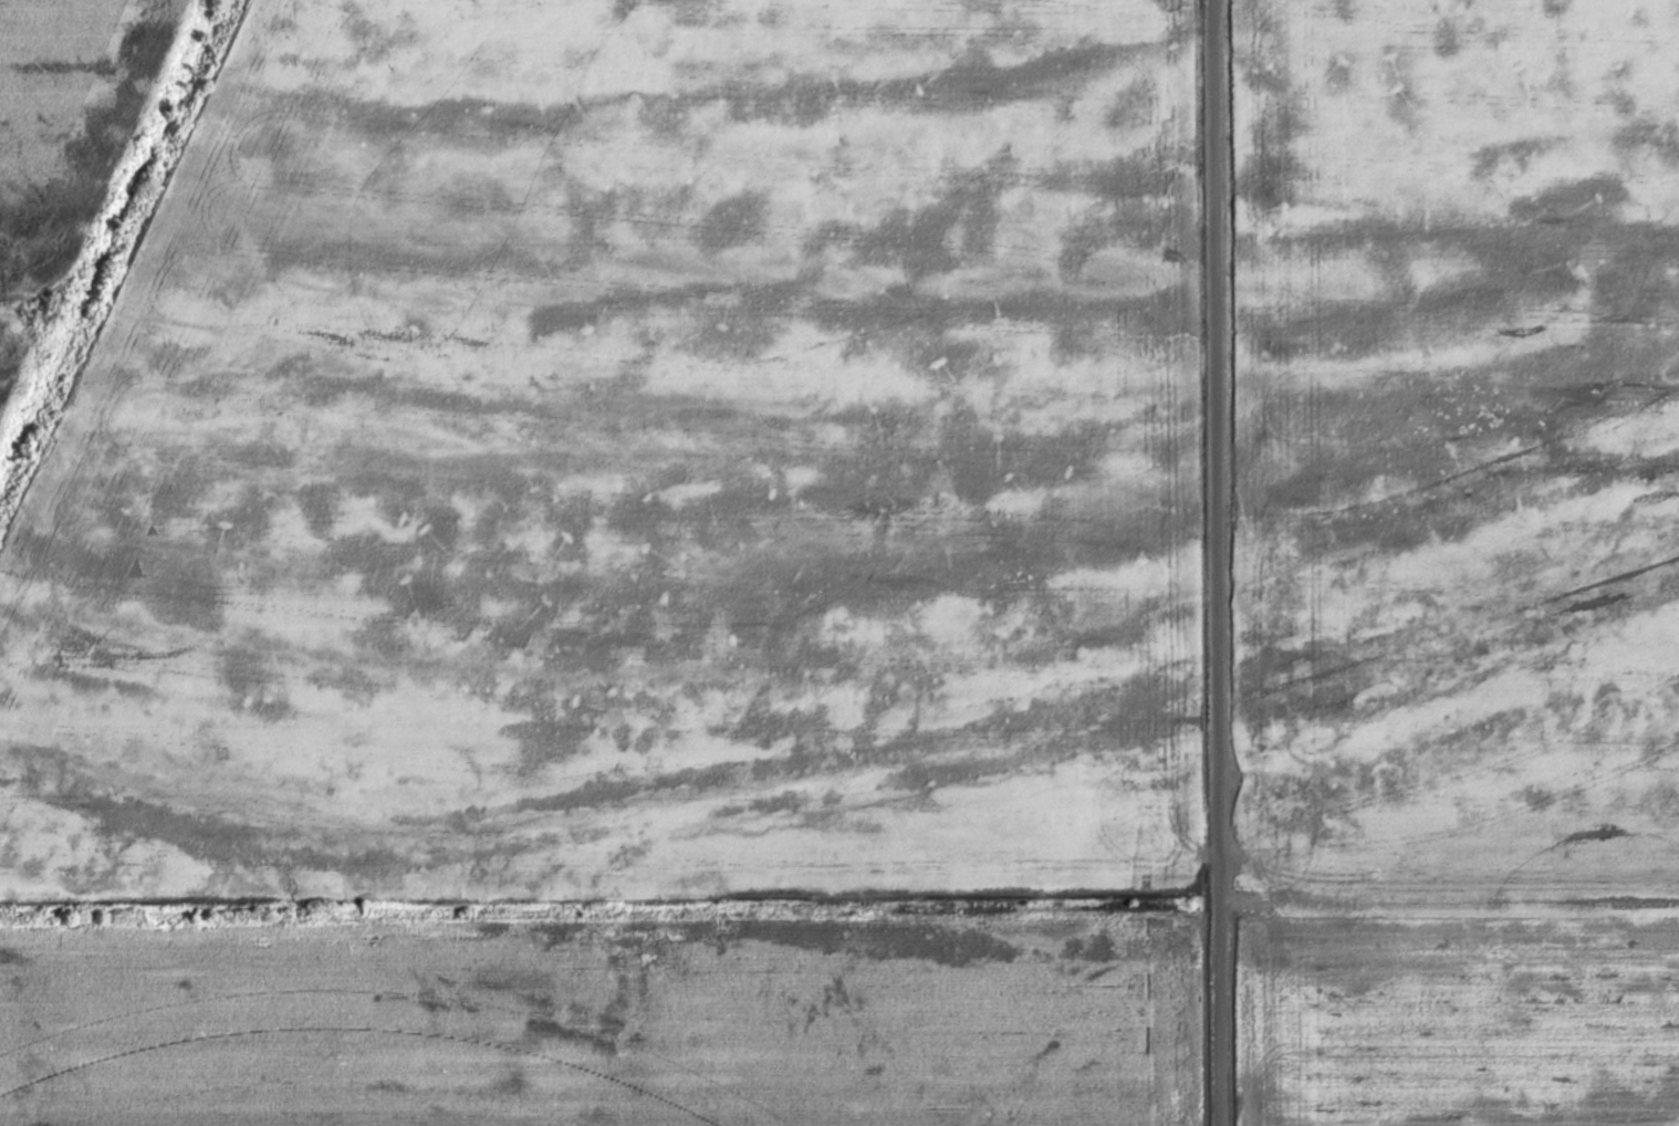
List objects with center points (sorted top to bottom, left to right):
road: (1218, 562)
road: (1449, 921)

